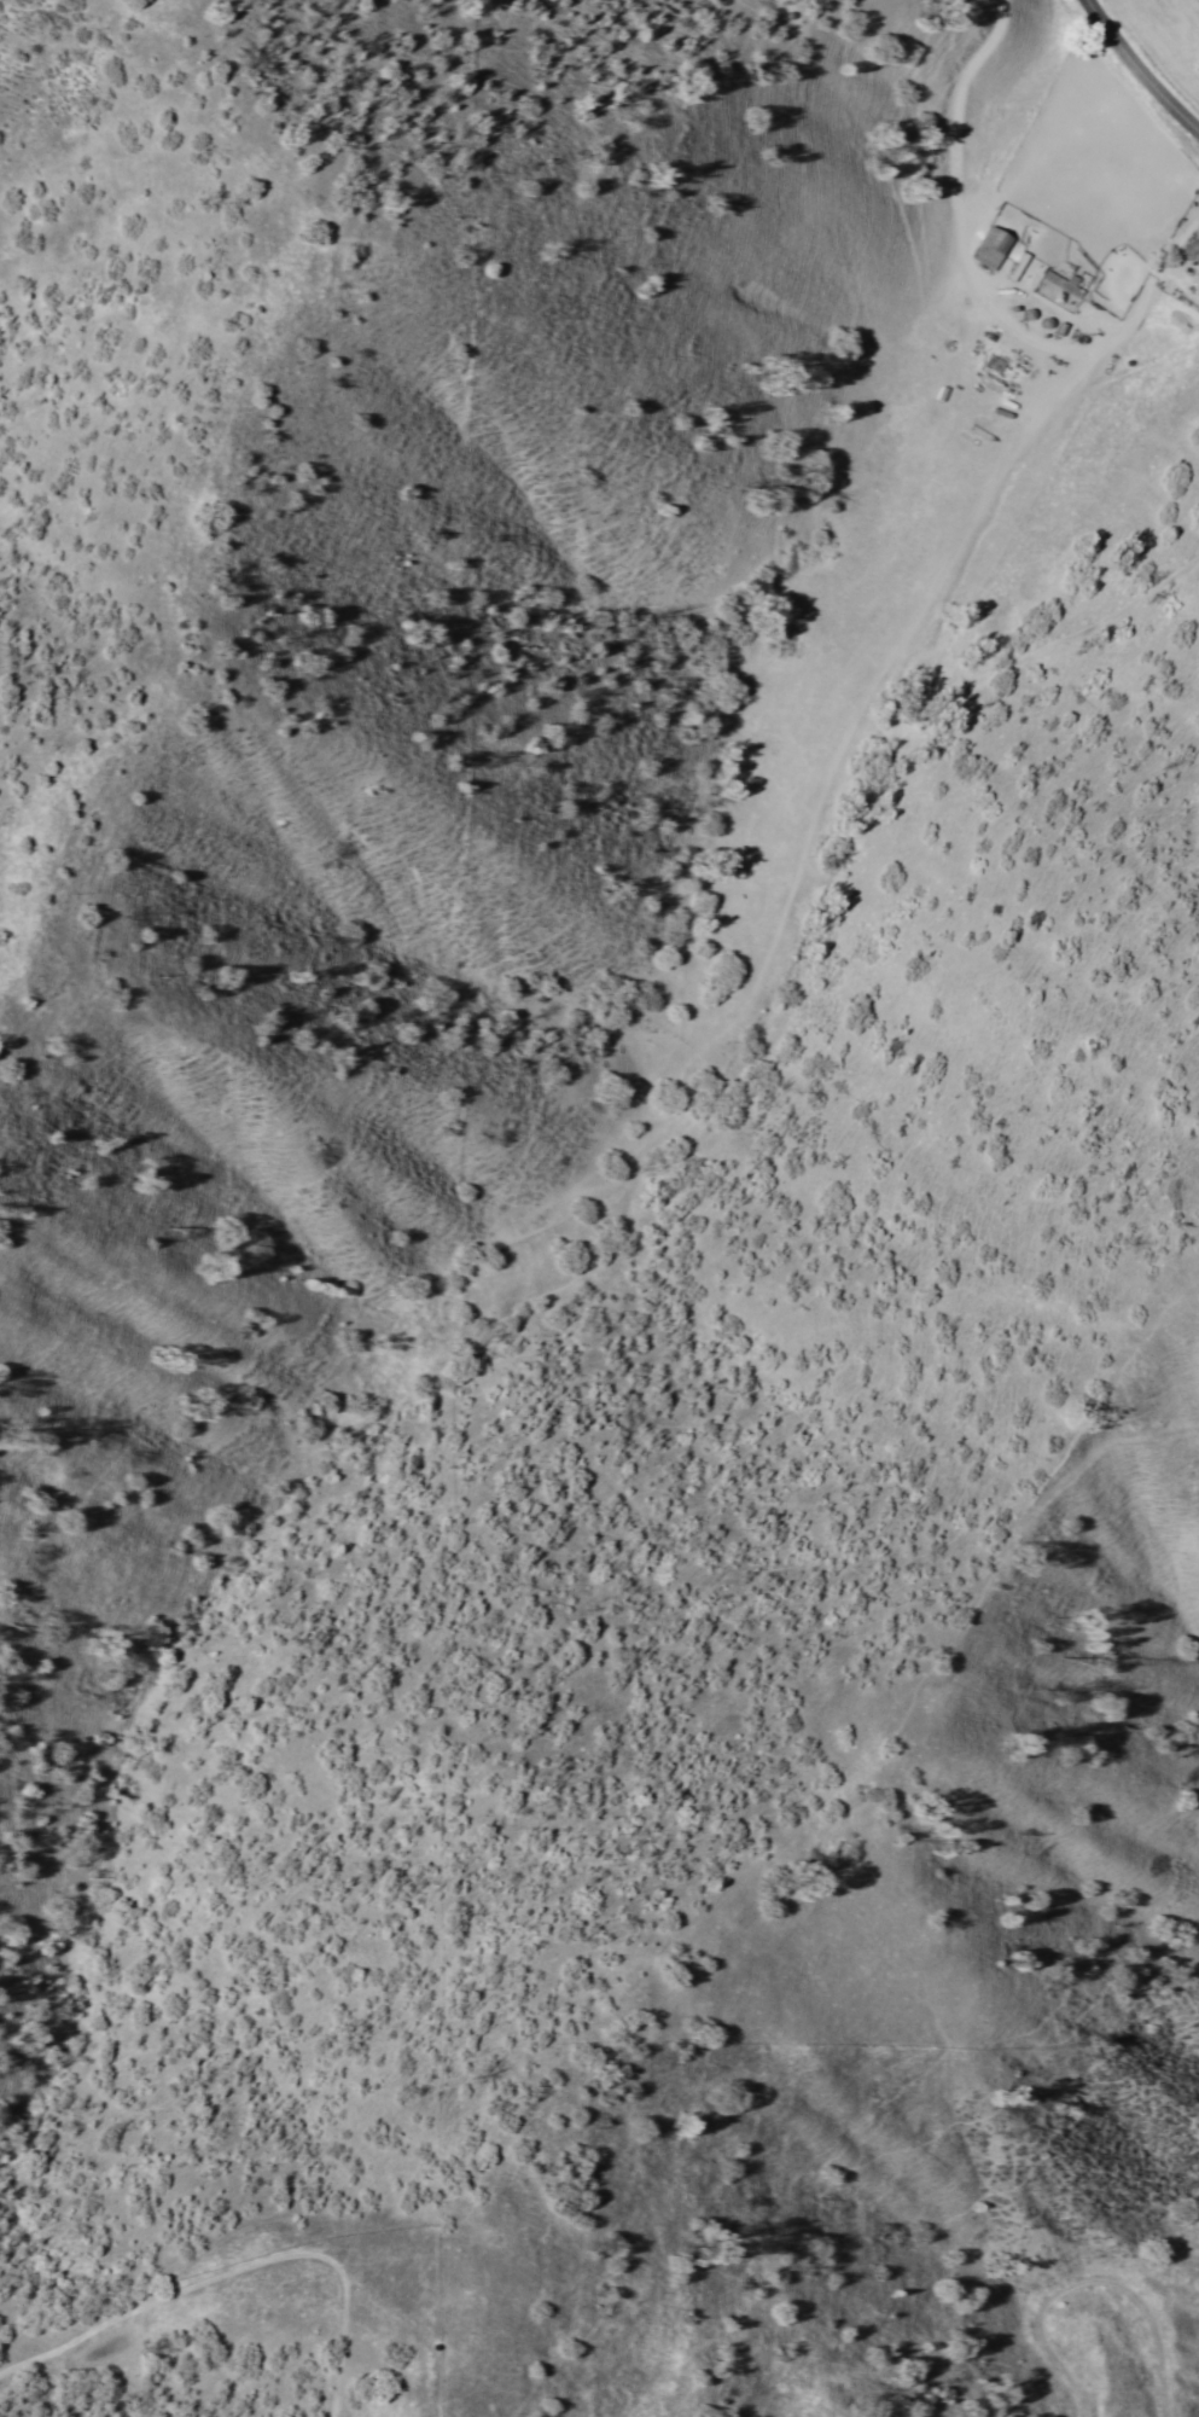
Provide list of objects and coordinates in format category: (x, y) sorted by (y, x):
crop: (1169, 30)
road: (1139, 69)
building: (1189, 246)
building: (990, 250)
building: (1059, 284)
road: (979, 291)

